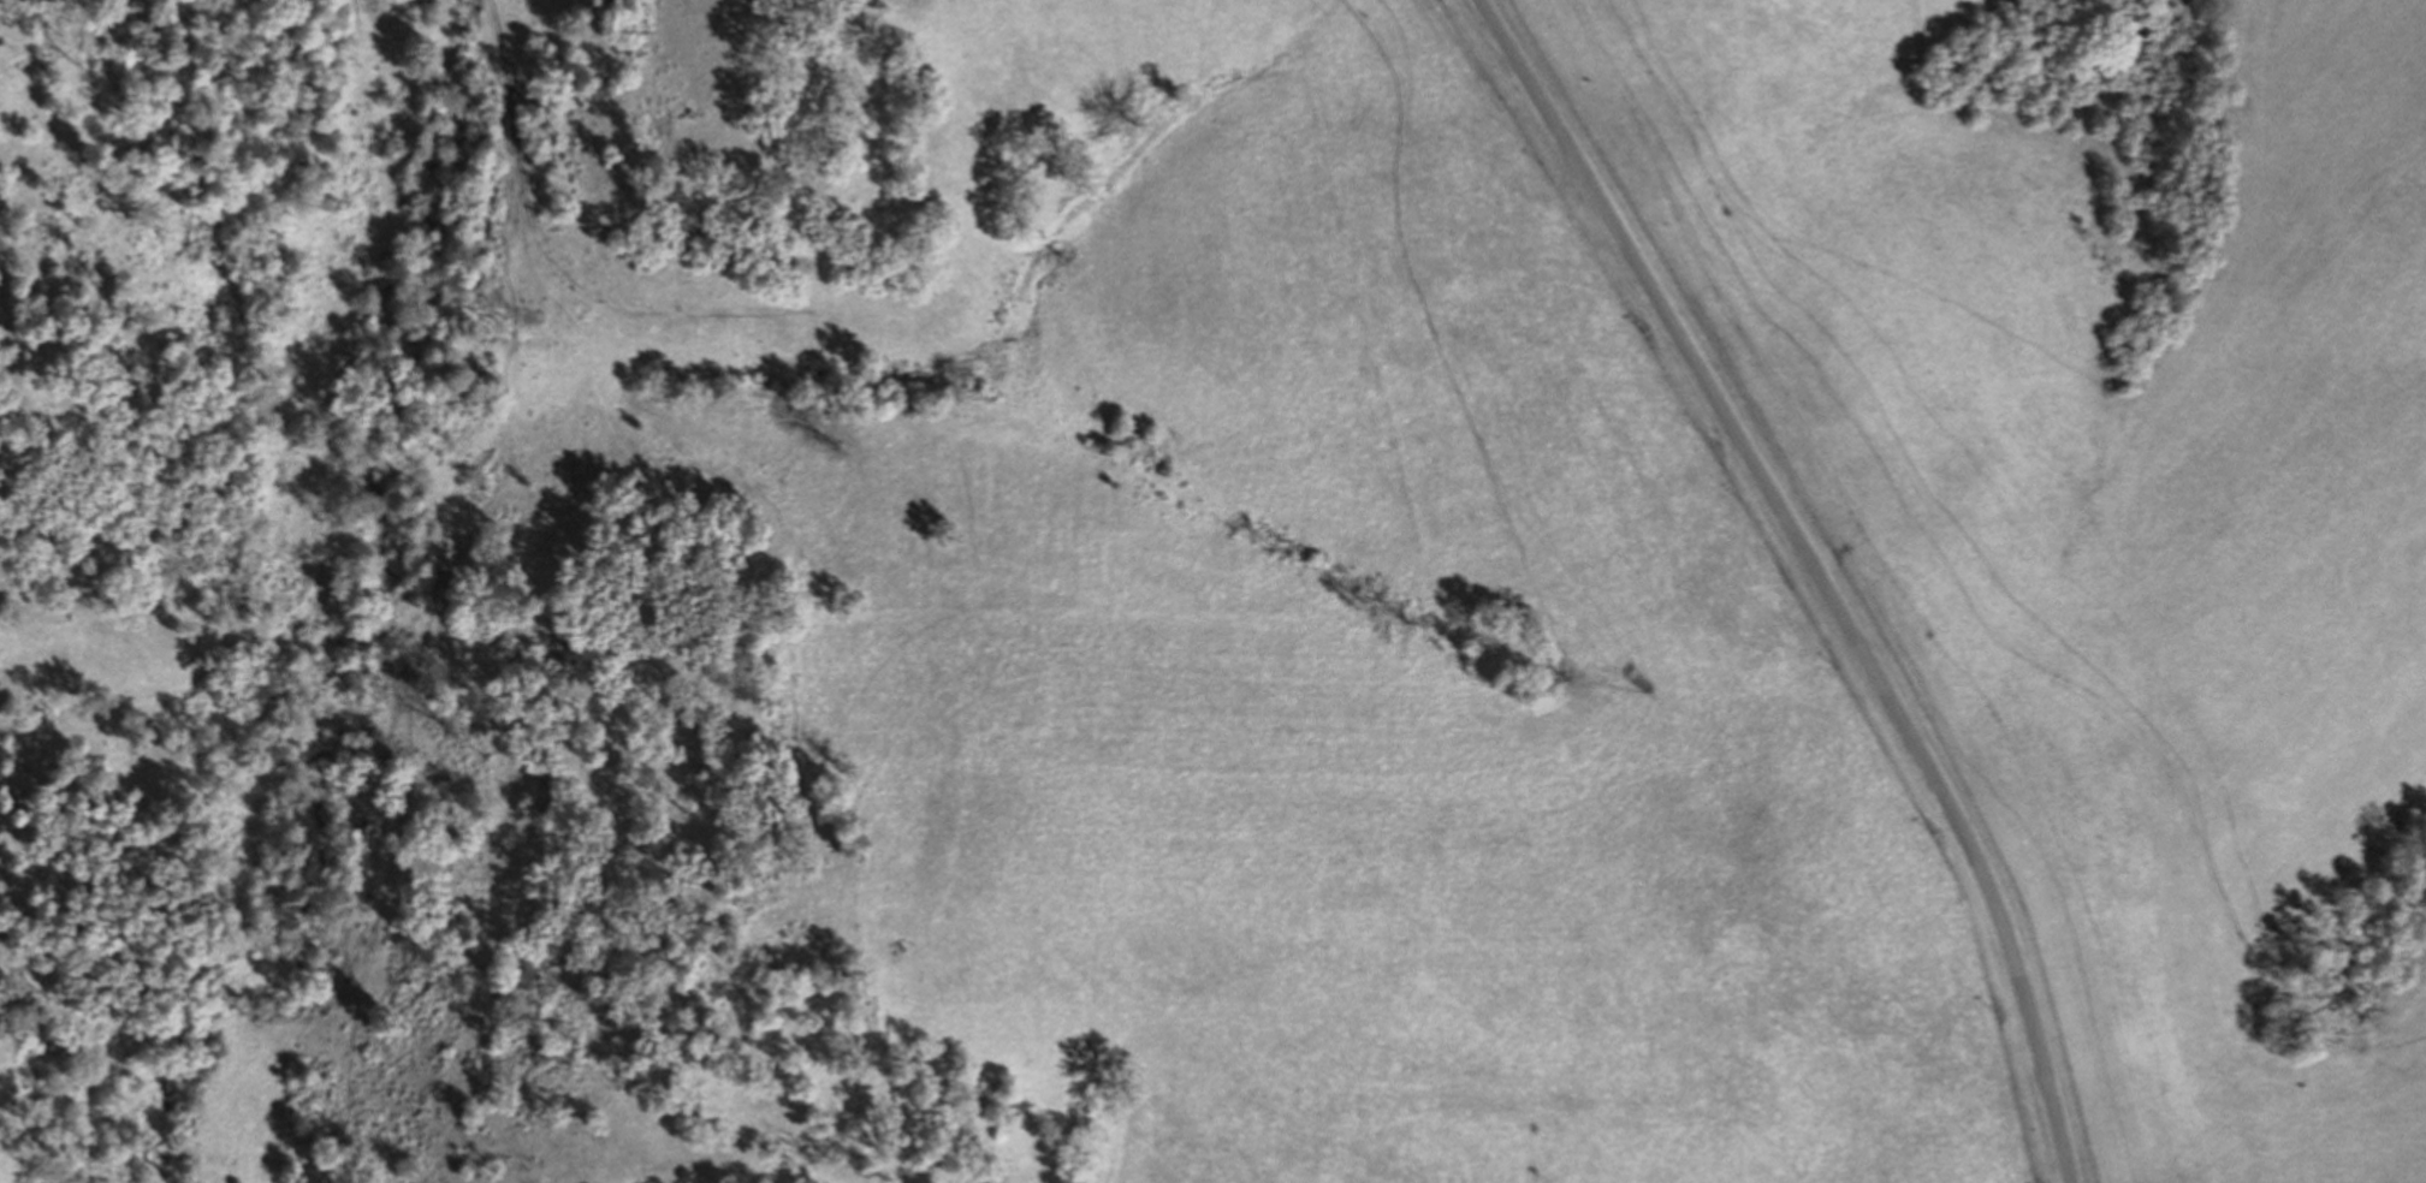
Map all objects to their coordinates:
road: (1813, 572)

